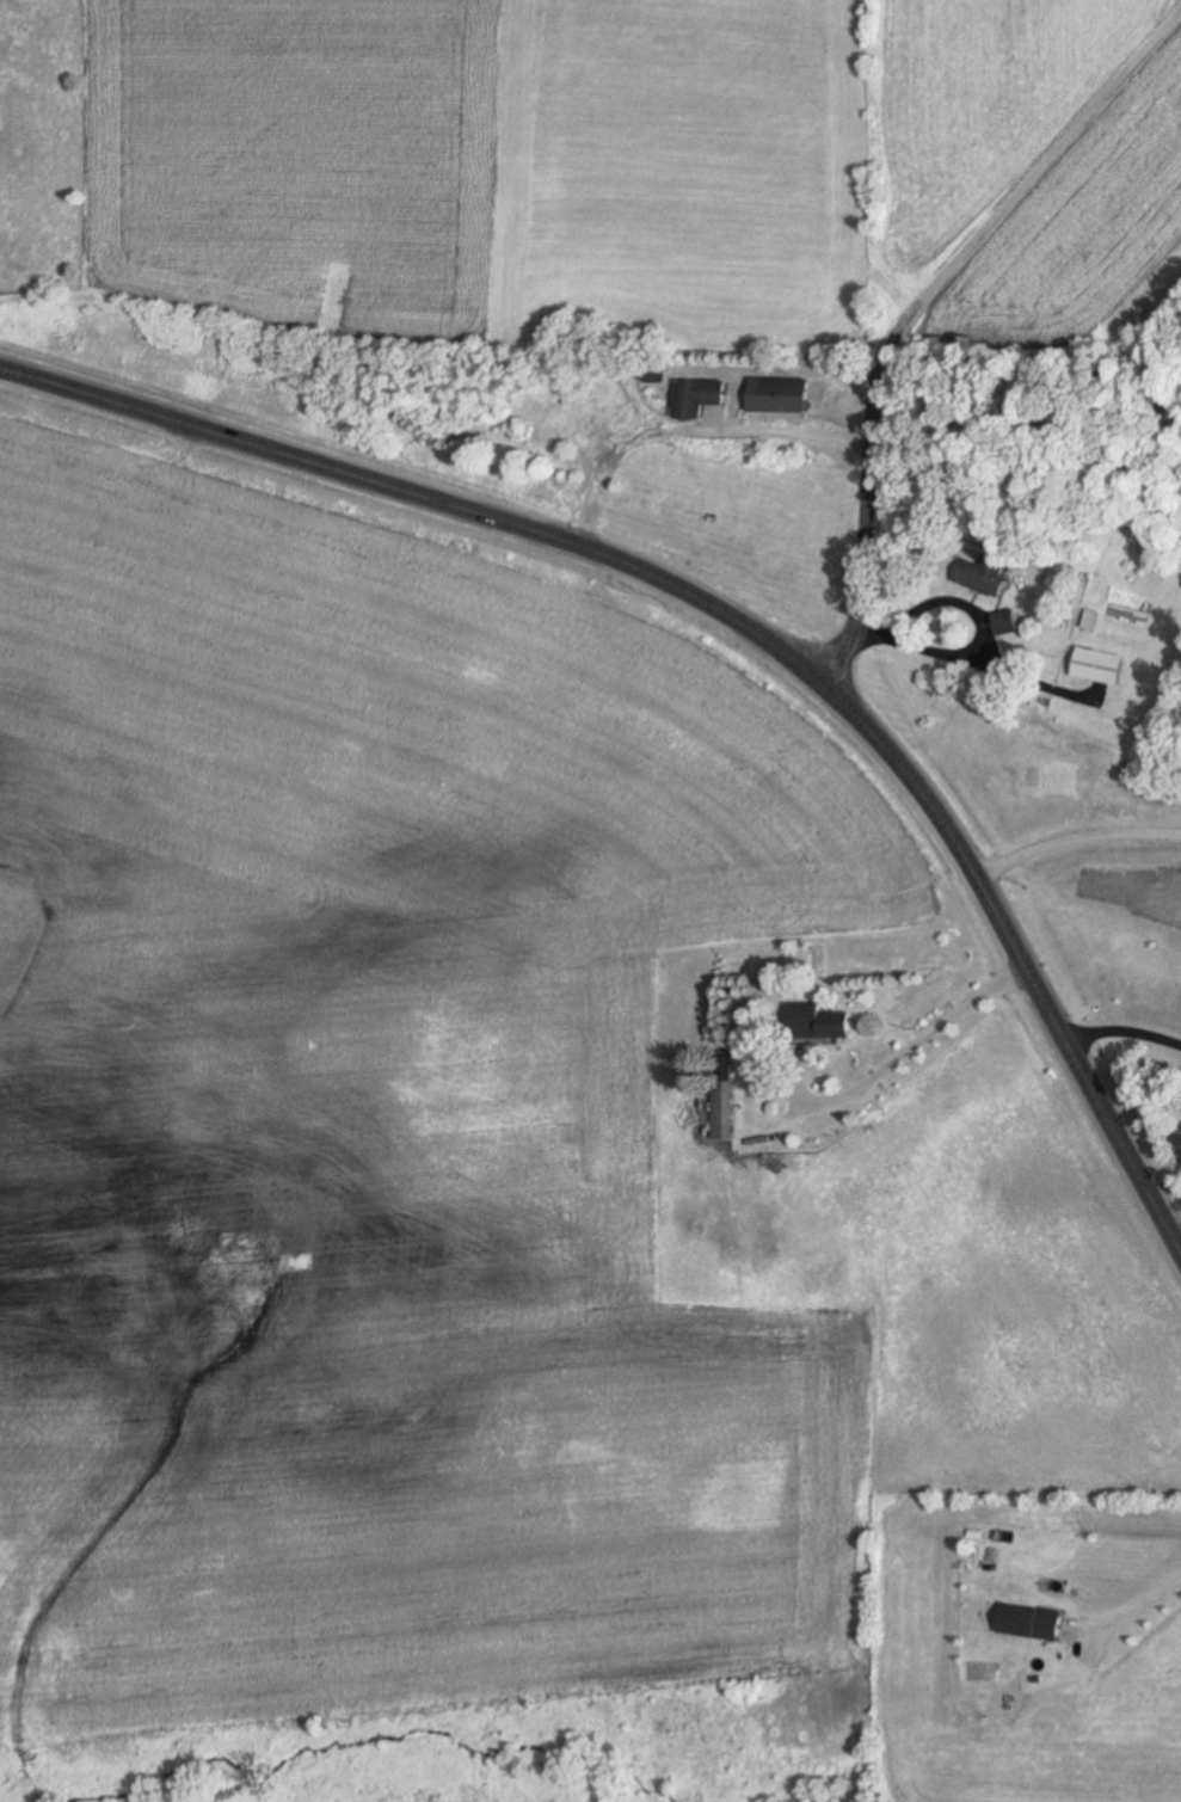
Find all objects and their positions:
road: (1128, 62)
road: (880, 374)
building: (780, 382)
building: (701, 383)
building: (982, 571)
road: (734, 614)
building: (1005, 625)
building: (1099, 668)
building: (817, 1023)
building: (724, 1100)
building: (1031, 1623)
road: (1138, 1623)

